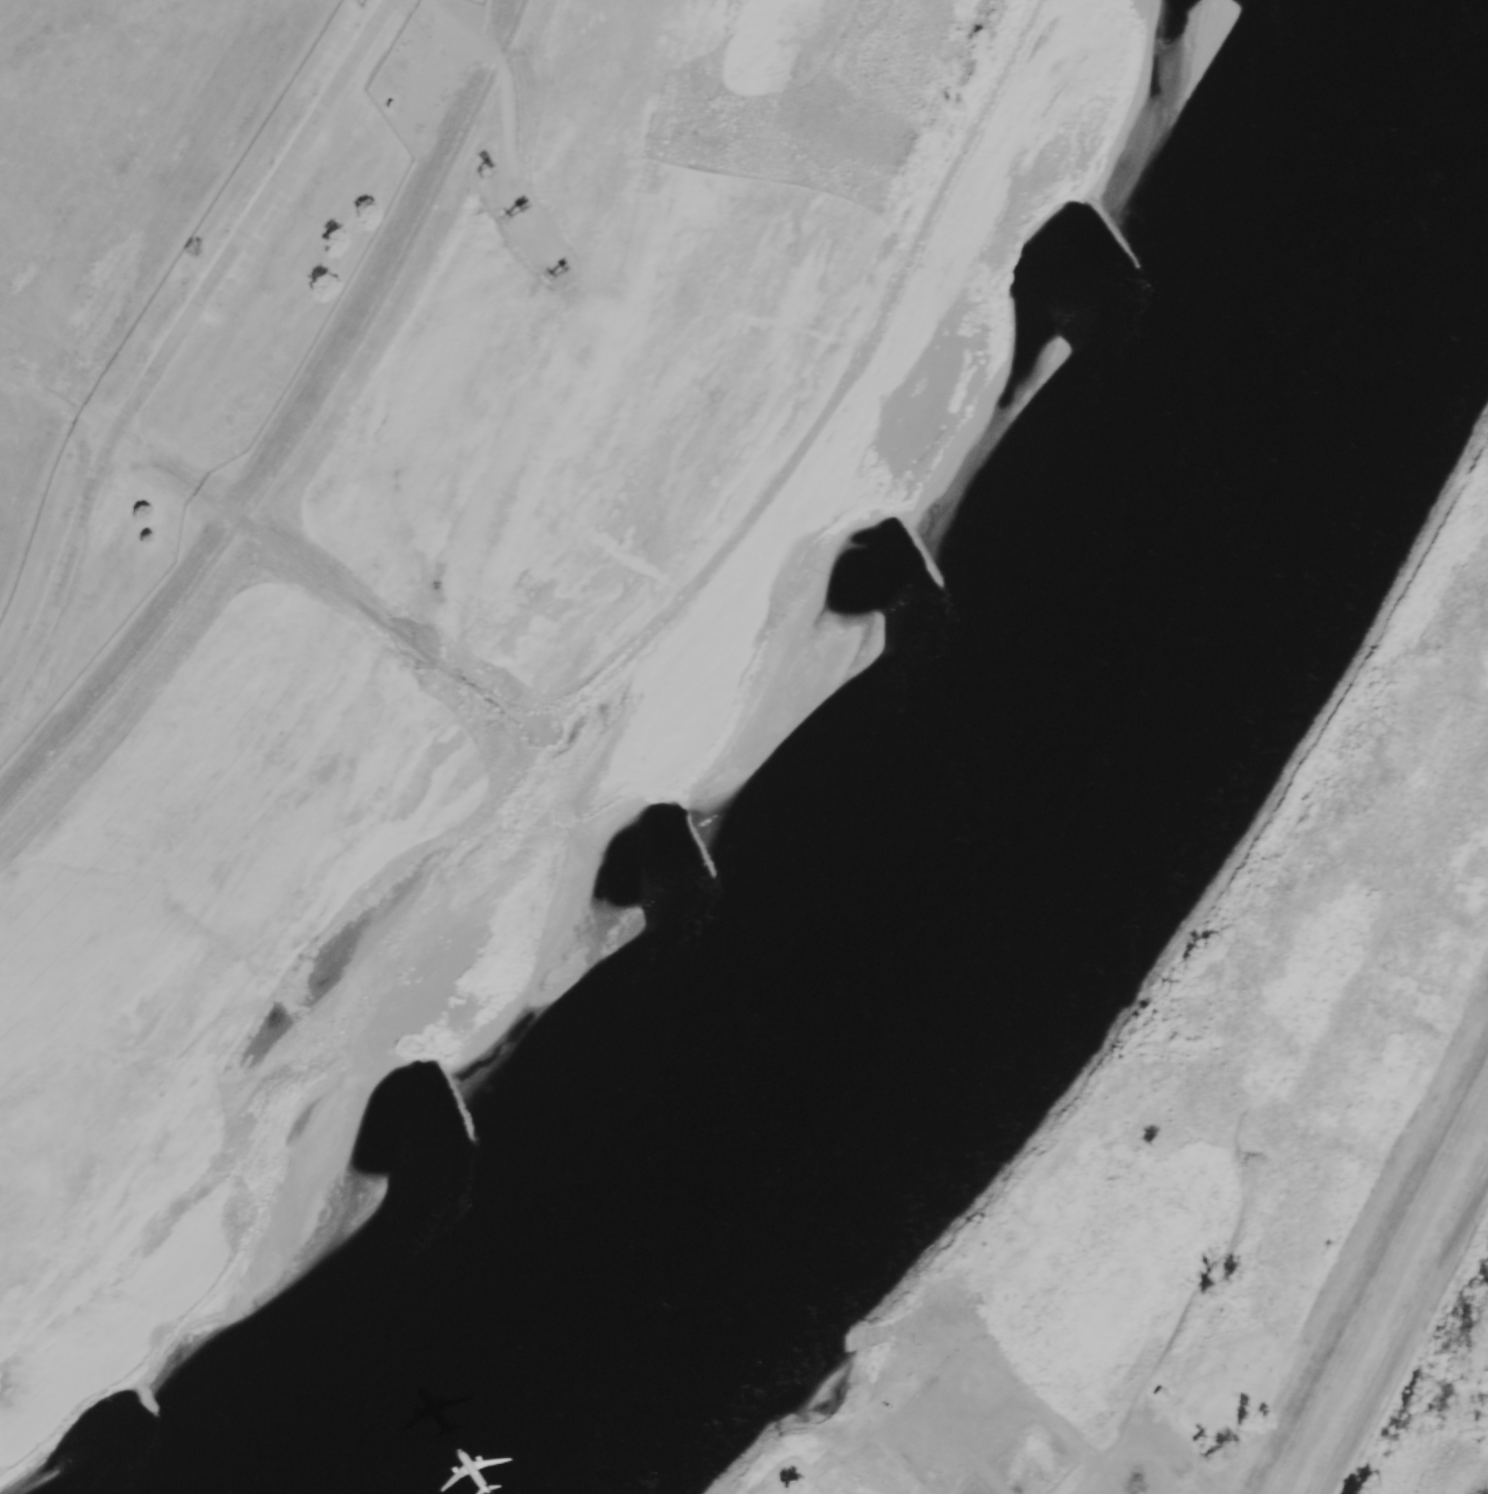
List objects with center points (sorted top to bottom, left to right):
road: (252, 219)
airport: (172, 272)
road: (59, 402)
road: (62, 575)
road: (328, 586)
river: (996, 801)
road: (1181, 1084)
road: (1256, 1118)
park: (1232, 1138)
road: (1236, 1158)
road: (955, 1297)
road: (916, 1323)
road: (969, 1329)
road: (1406, 1336)
road: (1204, 1341)
road: (969, 1355)
road: (1037, 1410)
road: (1002, 1411)
parking lot: (948, 1424)
road: (948, 1430)
road: (895, 1444)
parking lot: (1146, 1462)
road: (1137, 1463)
road: (987, 1475)
road: (1089, 1482)

